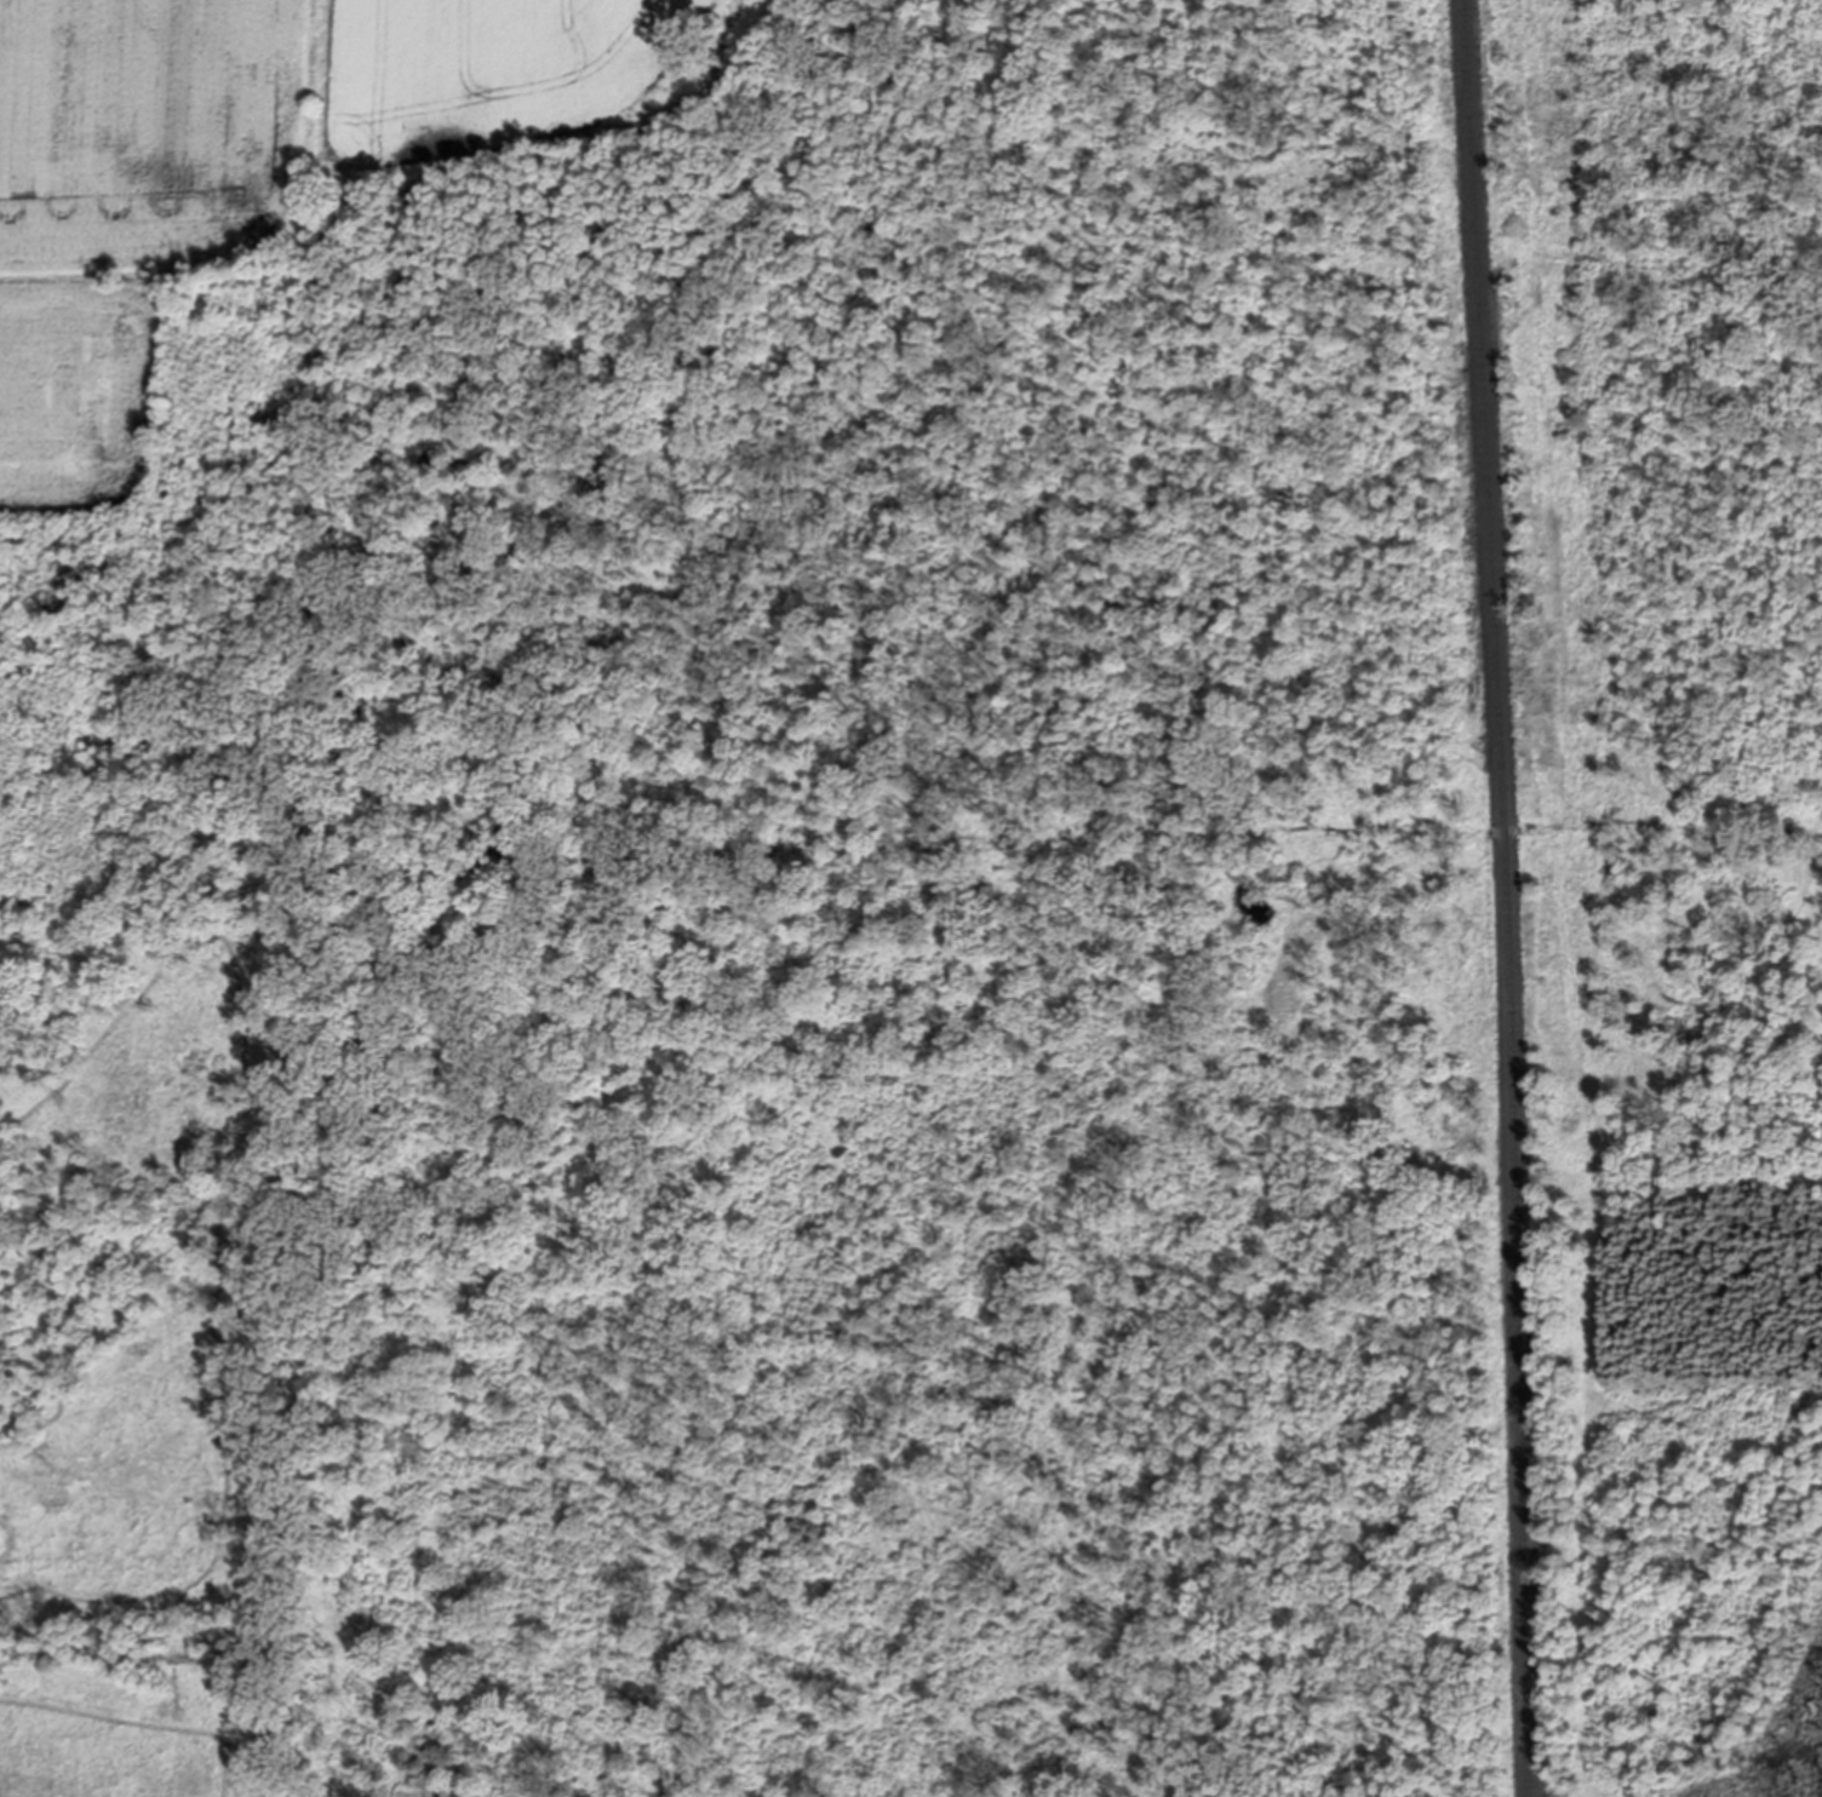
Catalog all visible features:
building: (517, 844)
railway: (1505, 897)

